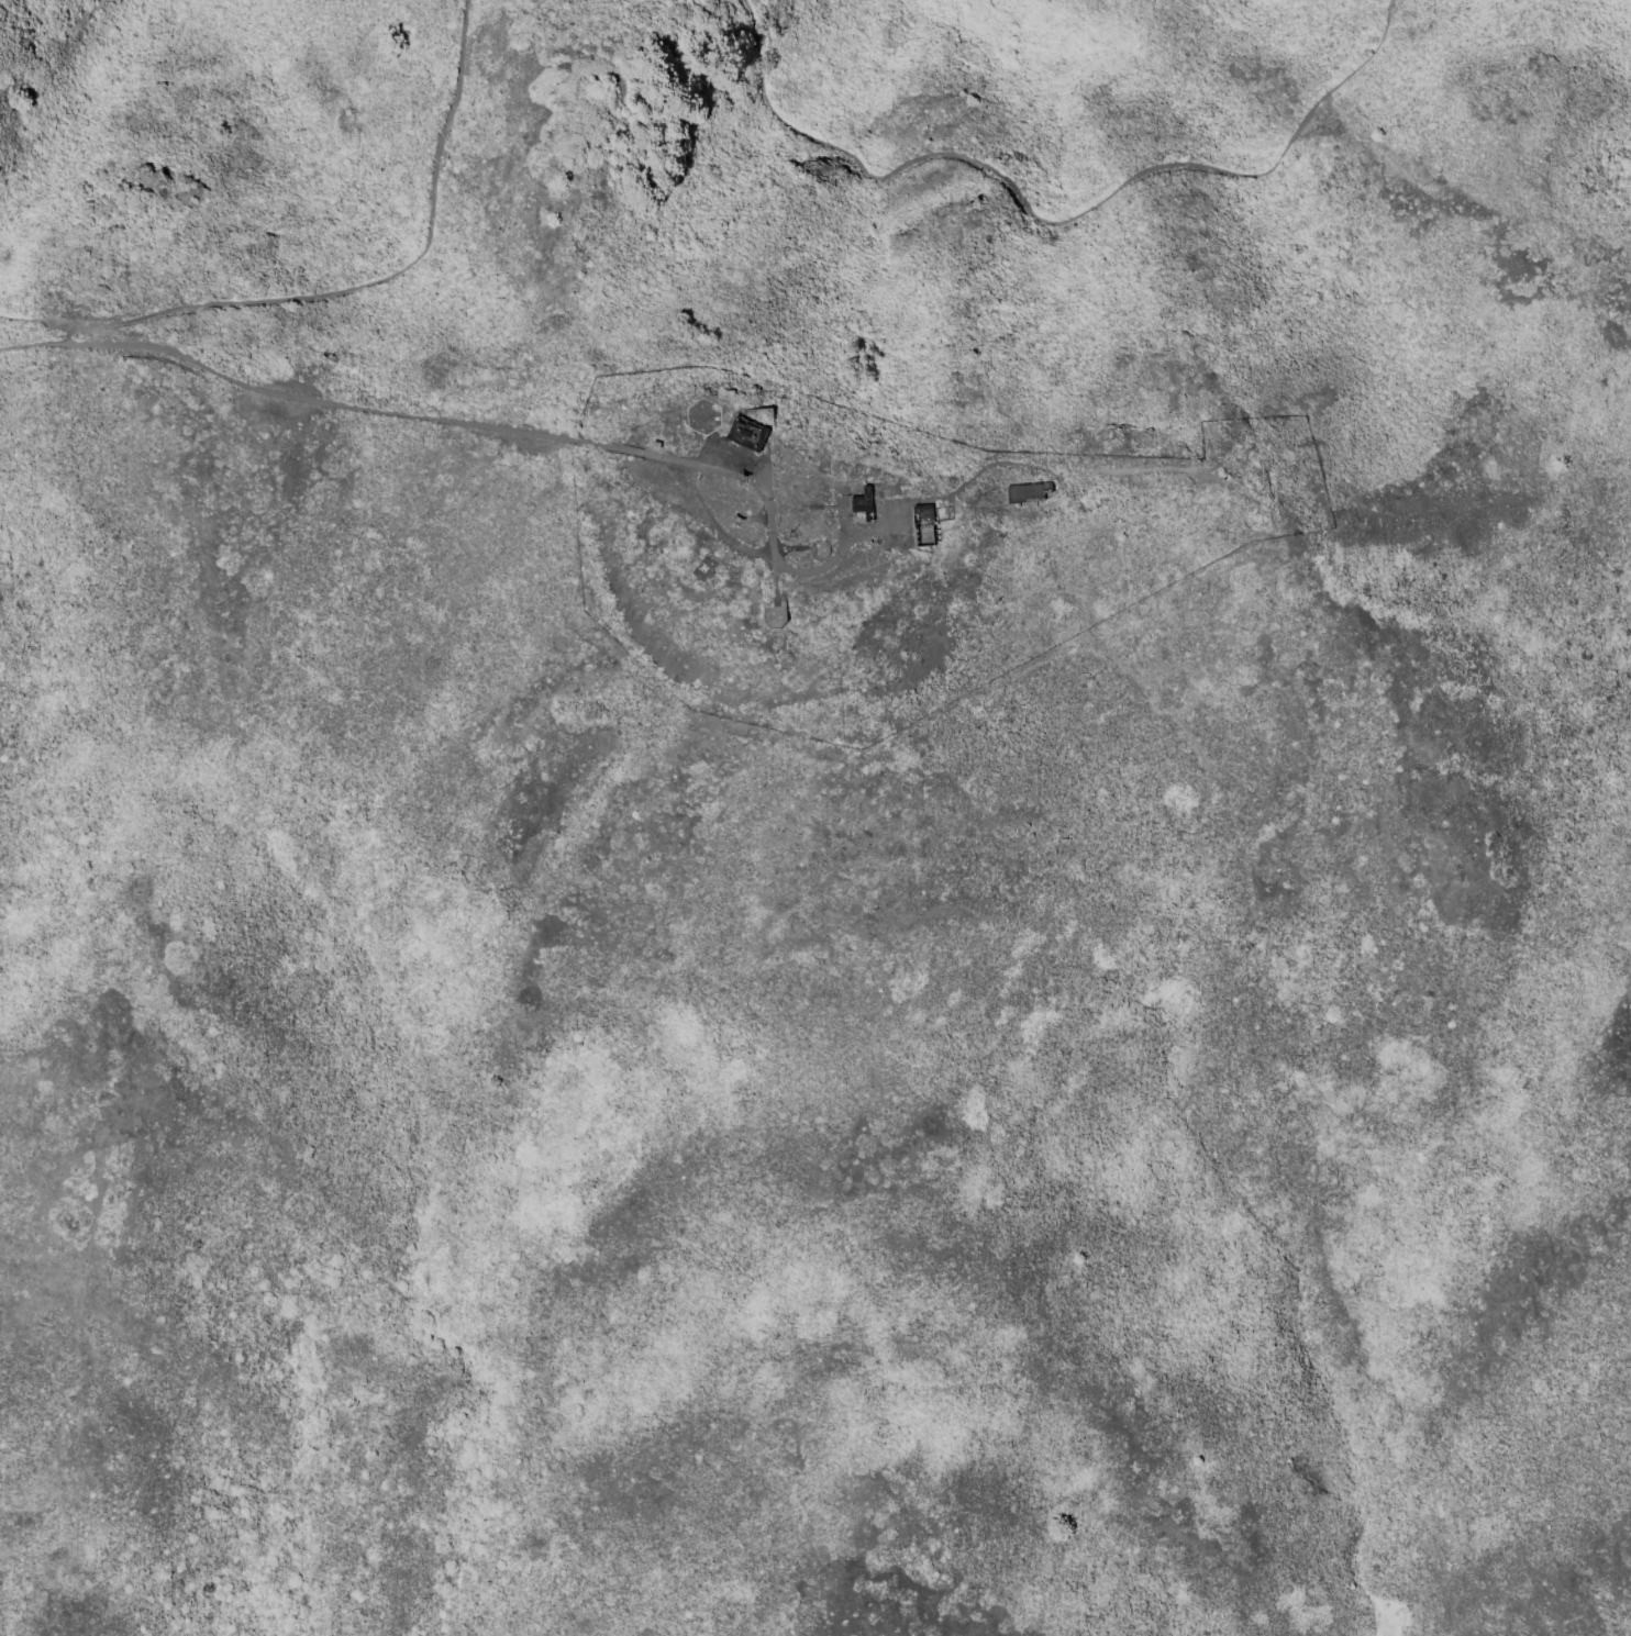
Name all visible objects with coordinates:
road: (1061, 226)
road: (370, 283)
road: (34, 323)
road: (30, 344)
road: (346, 411)
building: (748, 434)
building: (654, 445)
road: (687, 466)
road: (1068, 475)
road: (752, 480)
building: (1028, 493)
building: (863, 504)
road: (956, 507)
road: (1022, 511)
building: (922, 527)
road: (773, 537)
helipad: (706, 572)
road: (799, 572)

